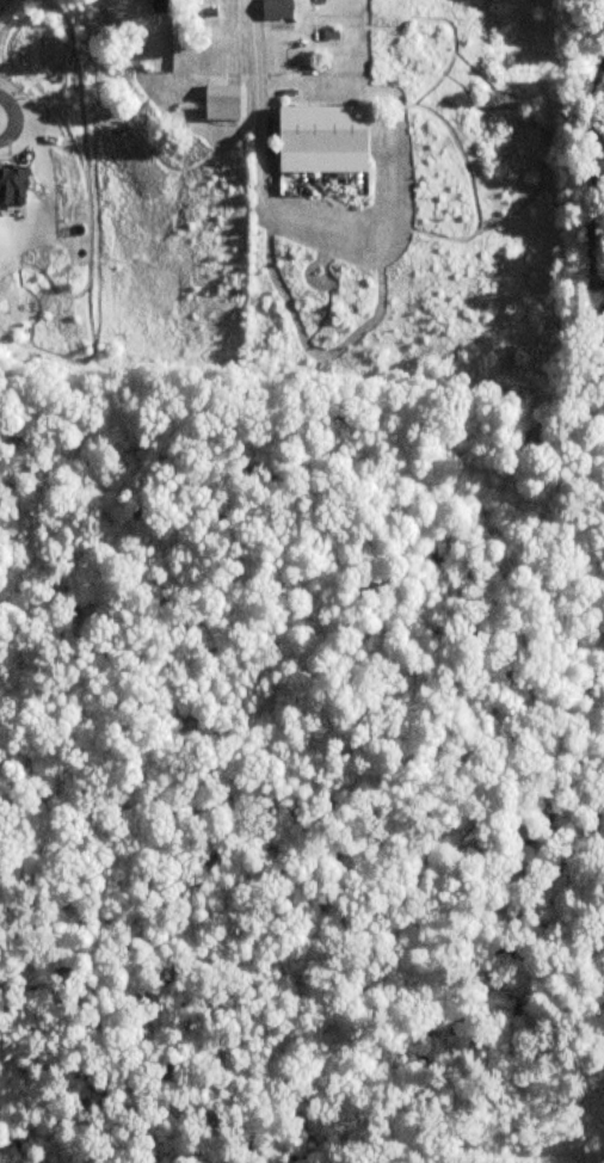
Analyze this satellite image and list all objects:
building: (161, 6)
building: (277, 10)
road: (260, 48)
building: (60, 84)
building: (221, 101)
building: (322, 139)
road: (593, 150)
road: (353, 468)
road: (427, 659)
park: (301, 763)
road: (597, 780)
road: (349, 892)
road: (437, 903)
road: (565, 984)
road: (124, 1102)

